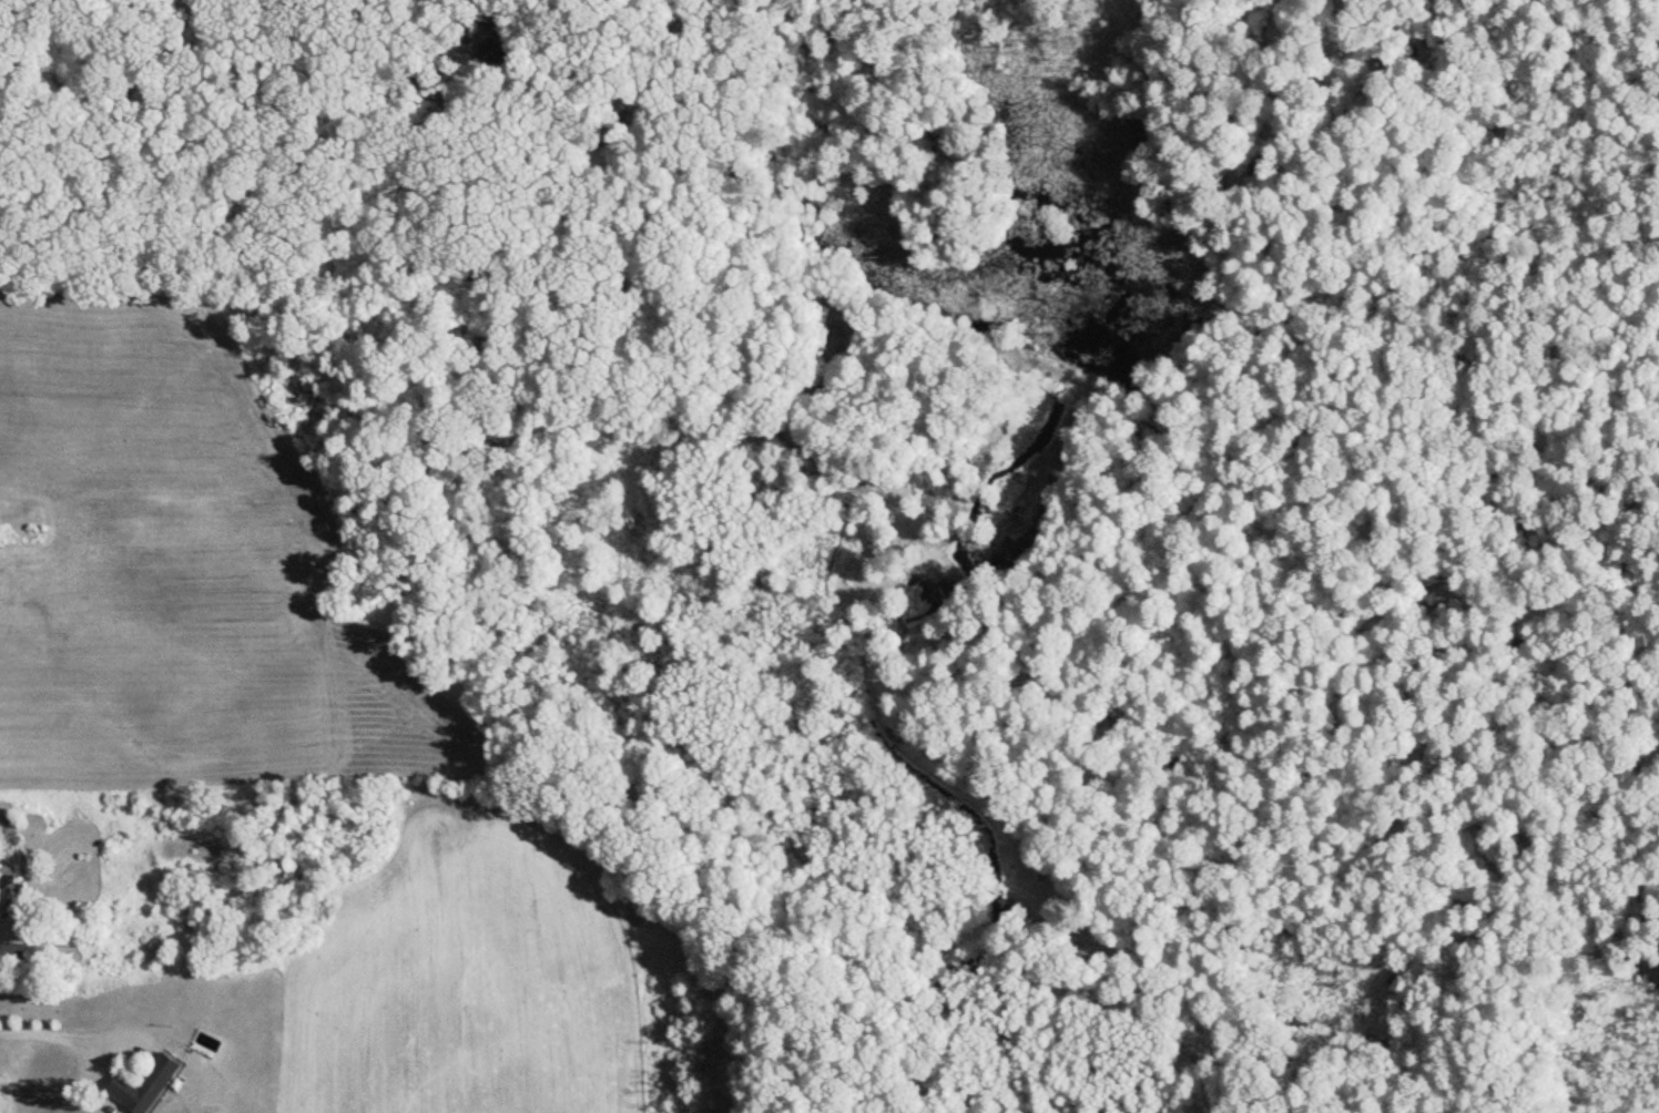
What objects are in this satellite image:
building: (6, 885)
road: (51, 1032)
building: (141, 1085)

